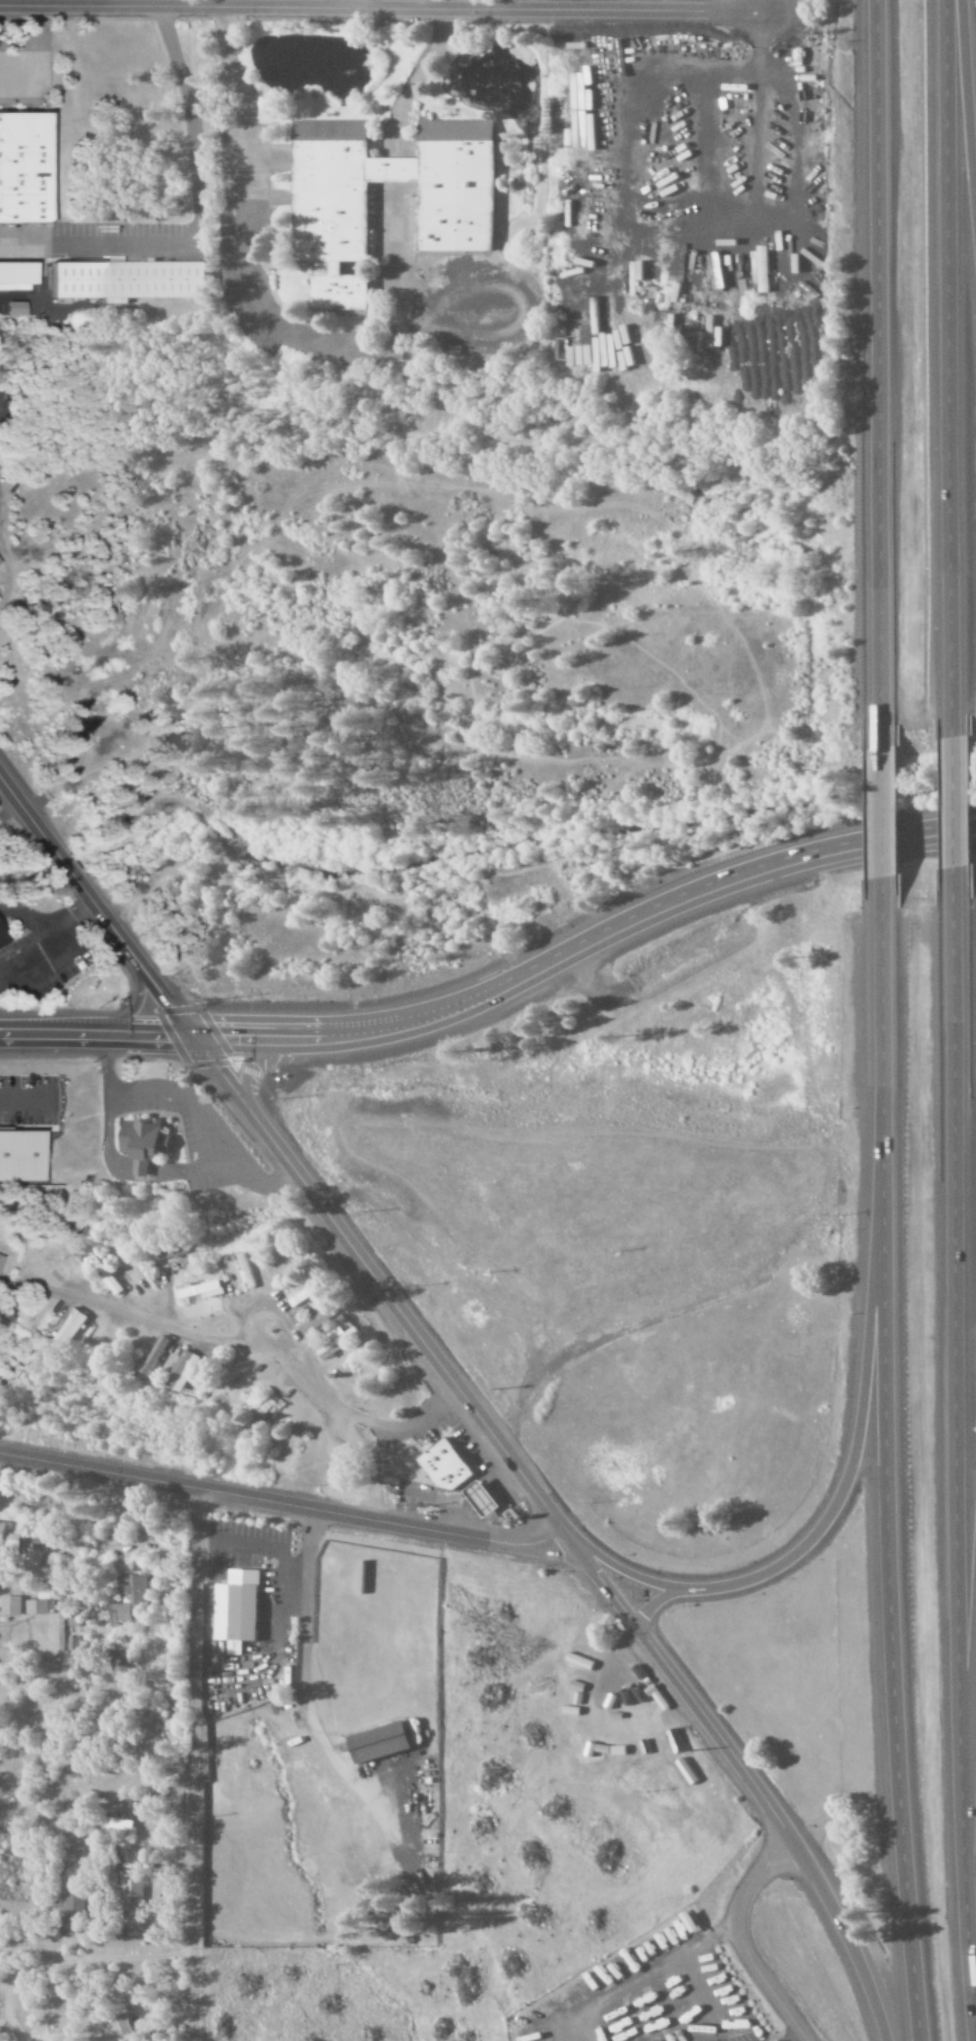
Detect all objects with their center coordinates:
road: (382, 8)
road: (971, 44)
building: (27, 168)
building: (458, 216)
building: (18, 275)
building: (133, 280)
road: (954, 365)
road: (879, 368)
road: (953, 807)
road: (877, 813)
road: (94, 907)
building: (4, 938)
road: (584, 944)
road: (93, 1034)
traffic signals: (187, 1034)
building: (144, 1142)
building: (20, 1155)
building: (1, 1259)
building: (247, 1270)
road: (371, 1281)
building: (200, 1290)
building: (302, 1294)
road: (137, 1318)
building: (69, 1329)
building: (340, 1340)
building: (183, 1370)
road: (302, 1373)
road: (963, 1385)
building: (447, 1465)
road: (888, 1465)
building: (486, 1499)
road: (278, 1502)
building: (7, 1537)
road: (808, 1537)
building: (128, 1598)
road: (302, 1598)
road: (652, 1602)
building: (9, 1605)
building: (35, 1607)
building: (232, 1609)
building: (73, 1644)
building: (119, 1667)
road: (674, 1684)
building: (374, 1743)
road: (189, 1764)
road: (974, 1809)
building: (106, 1822)
building: (129, 1890)
building: (71, 1912)
building: (379, 1917)
road: (842, 1939)
road: (735, 1941)
building: (148, 2036)

